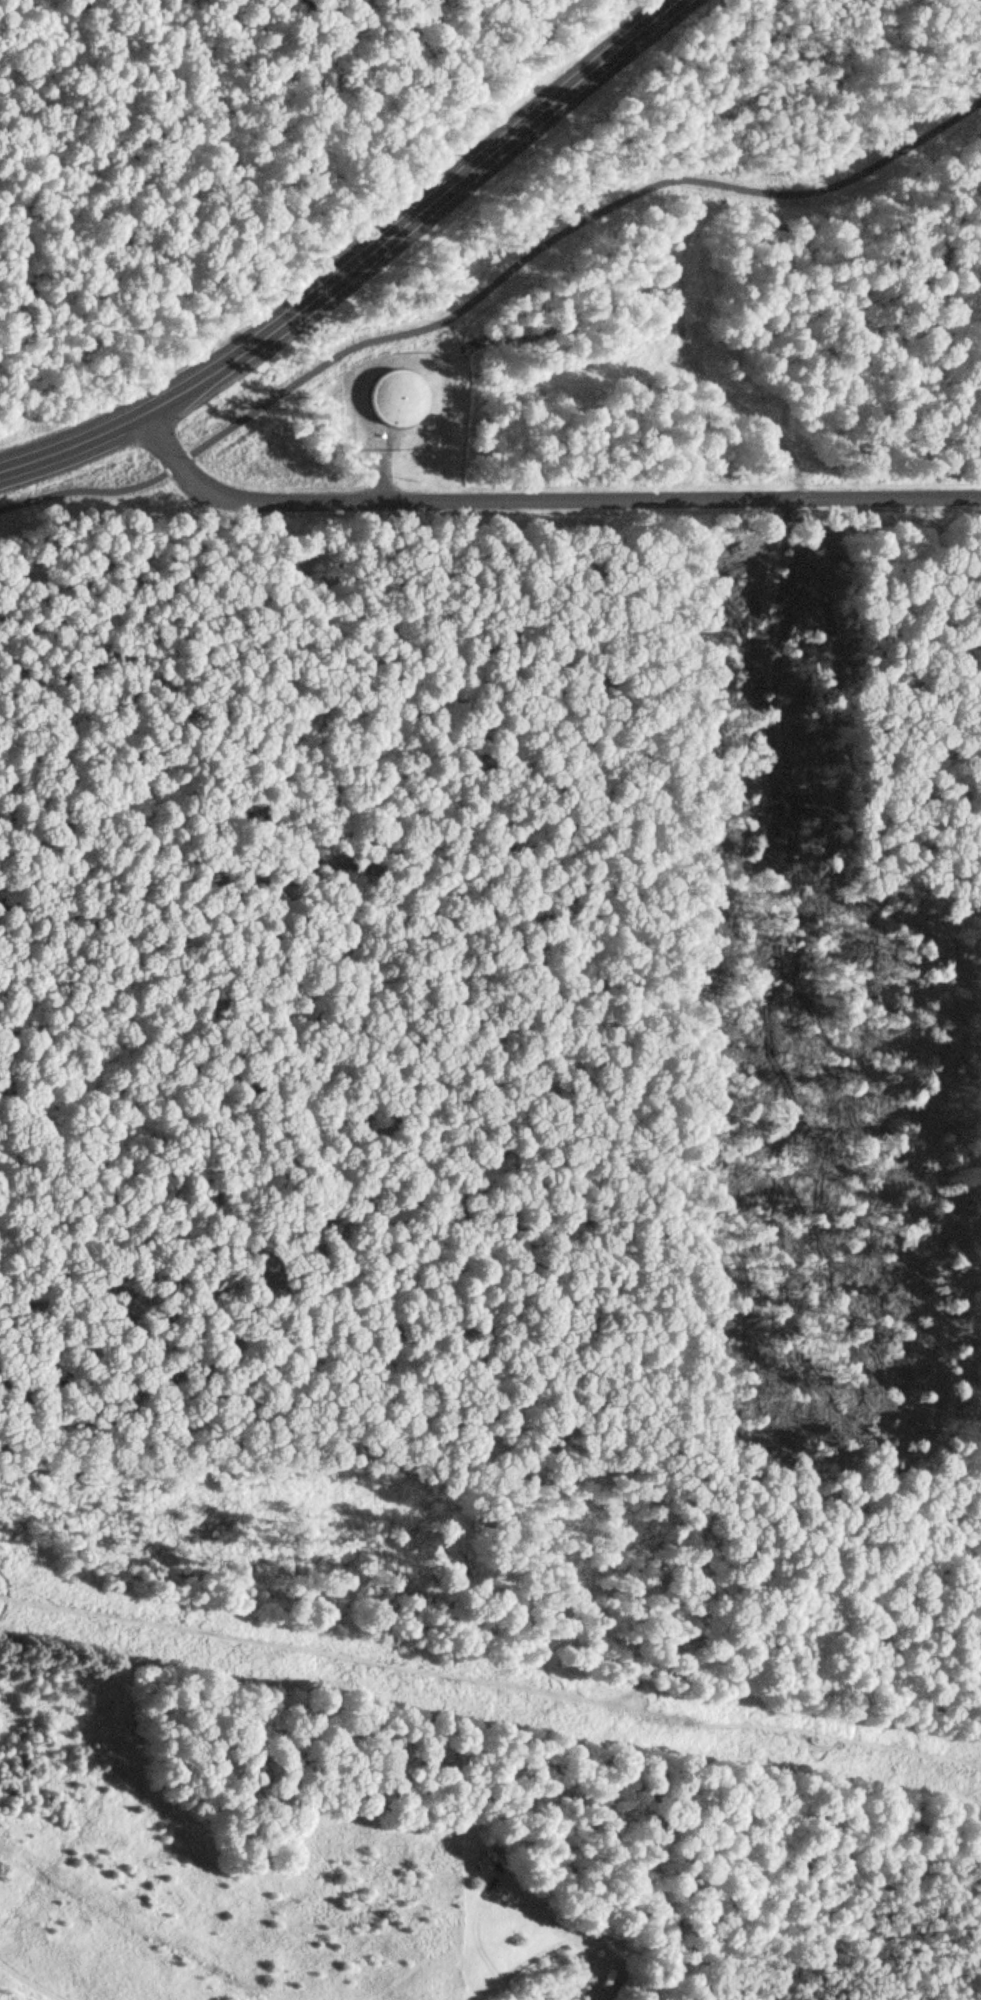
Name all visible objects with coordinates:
road: (356, 264)
road: (489, 288)
building: (391, 400)
road: (538, 503)

